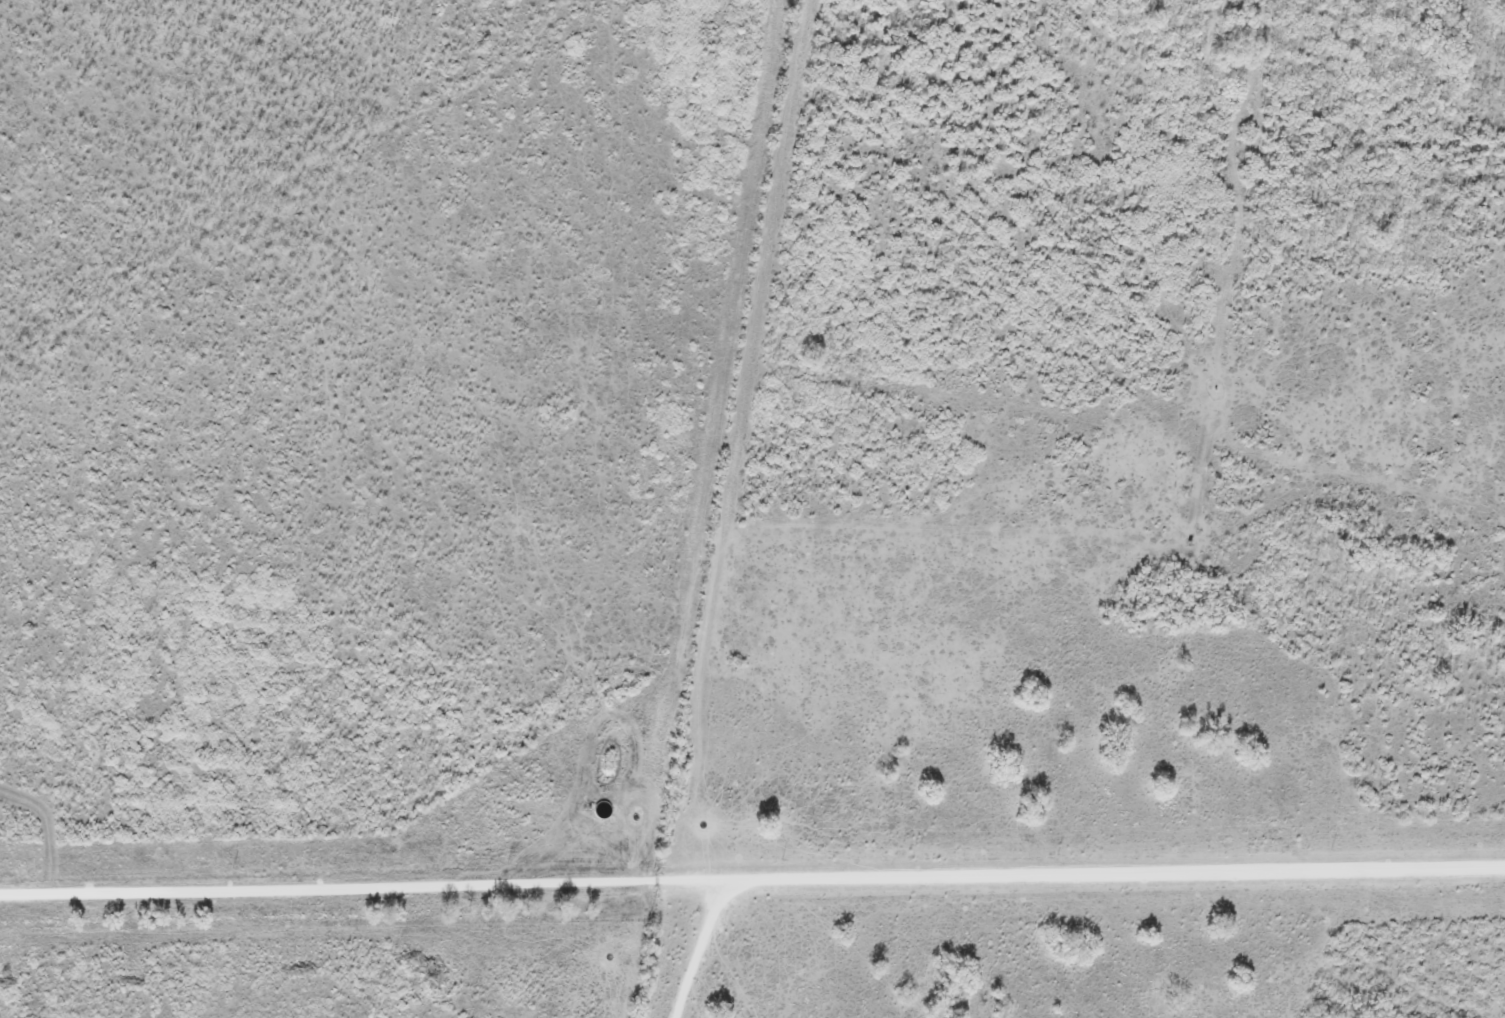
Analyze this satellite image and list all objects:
road: (752, 914)

